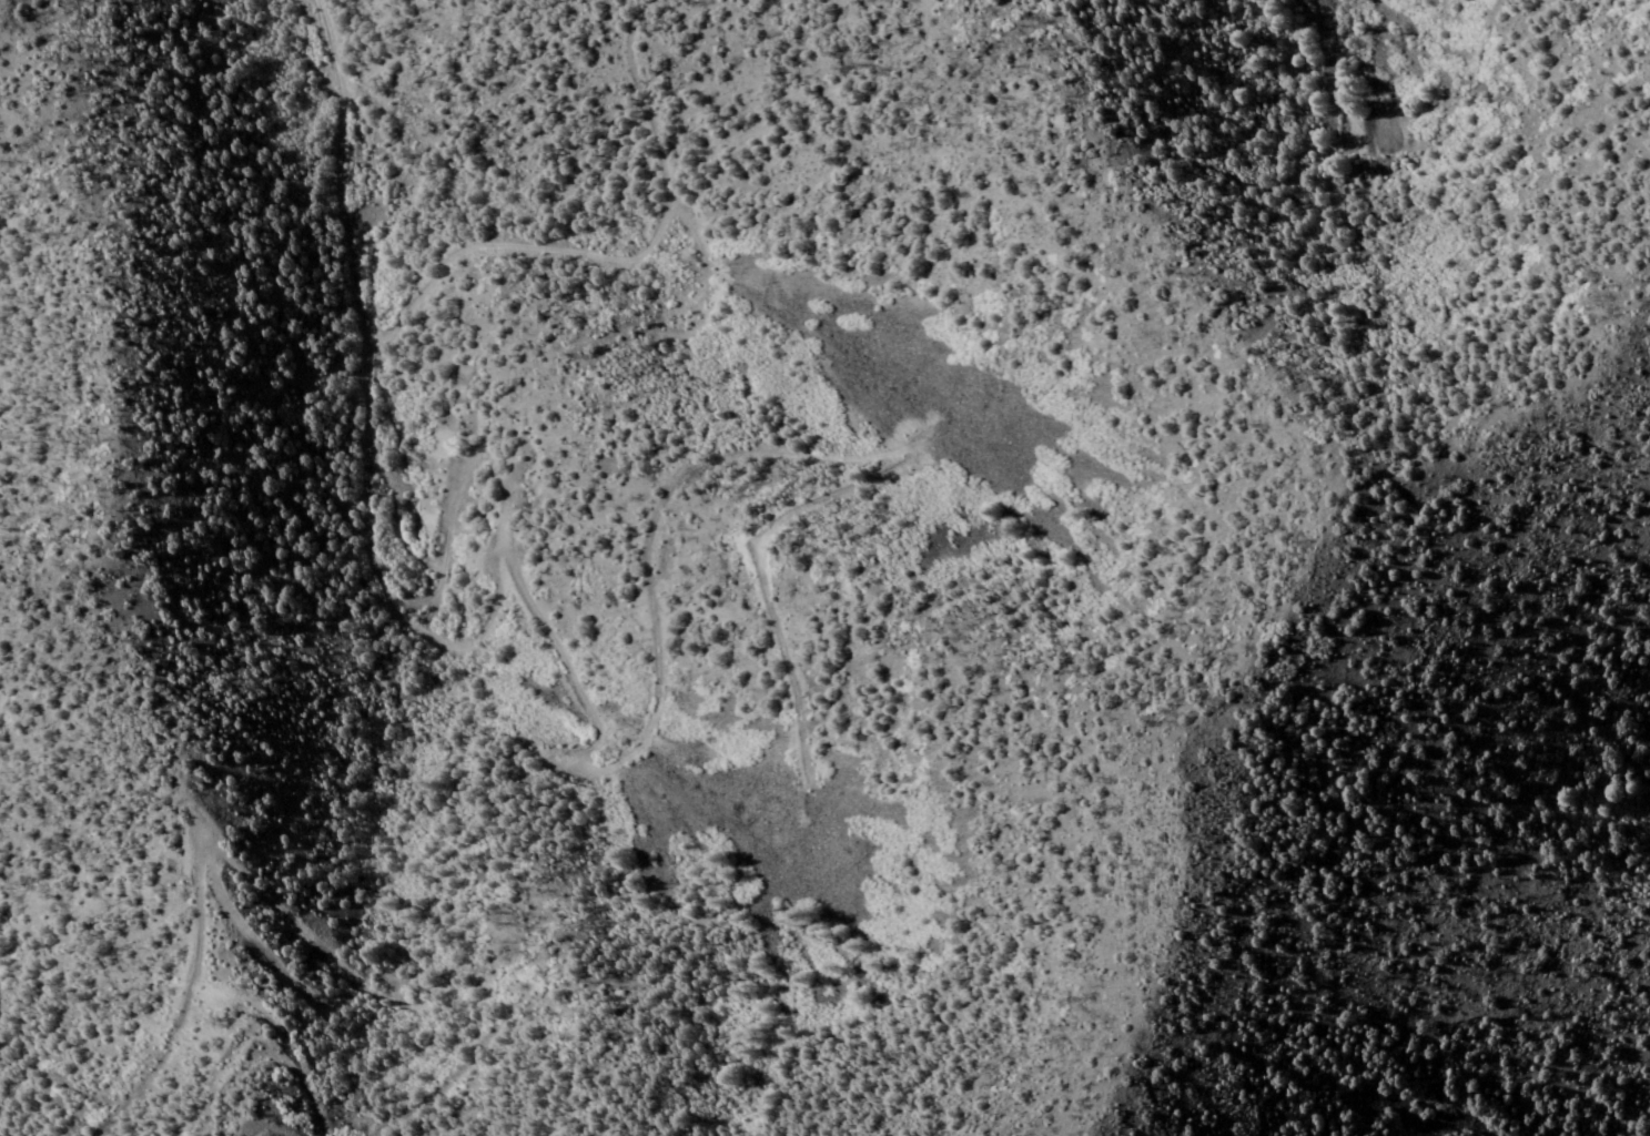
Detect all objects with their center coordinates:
road: (382, 313)

